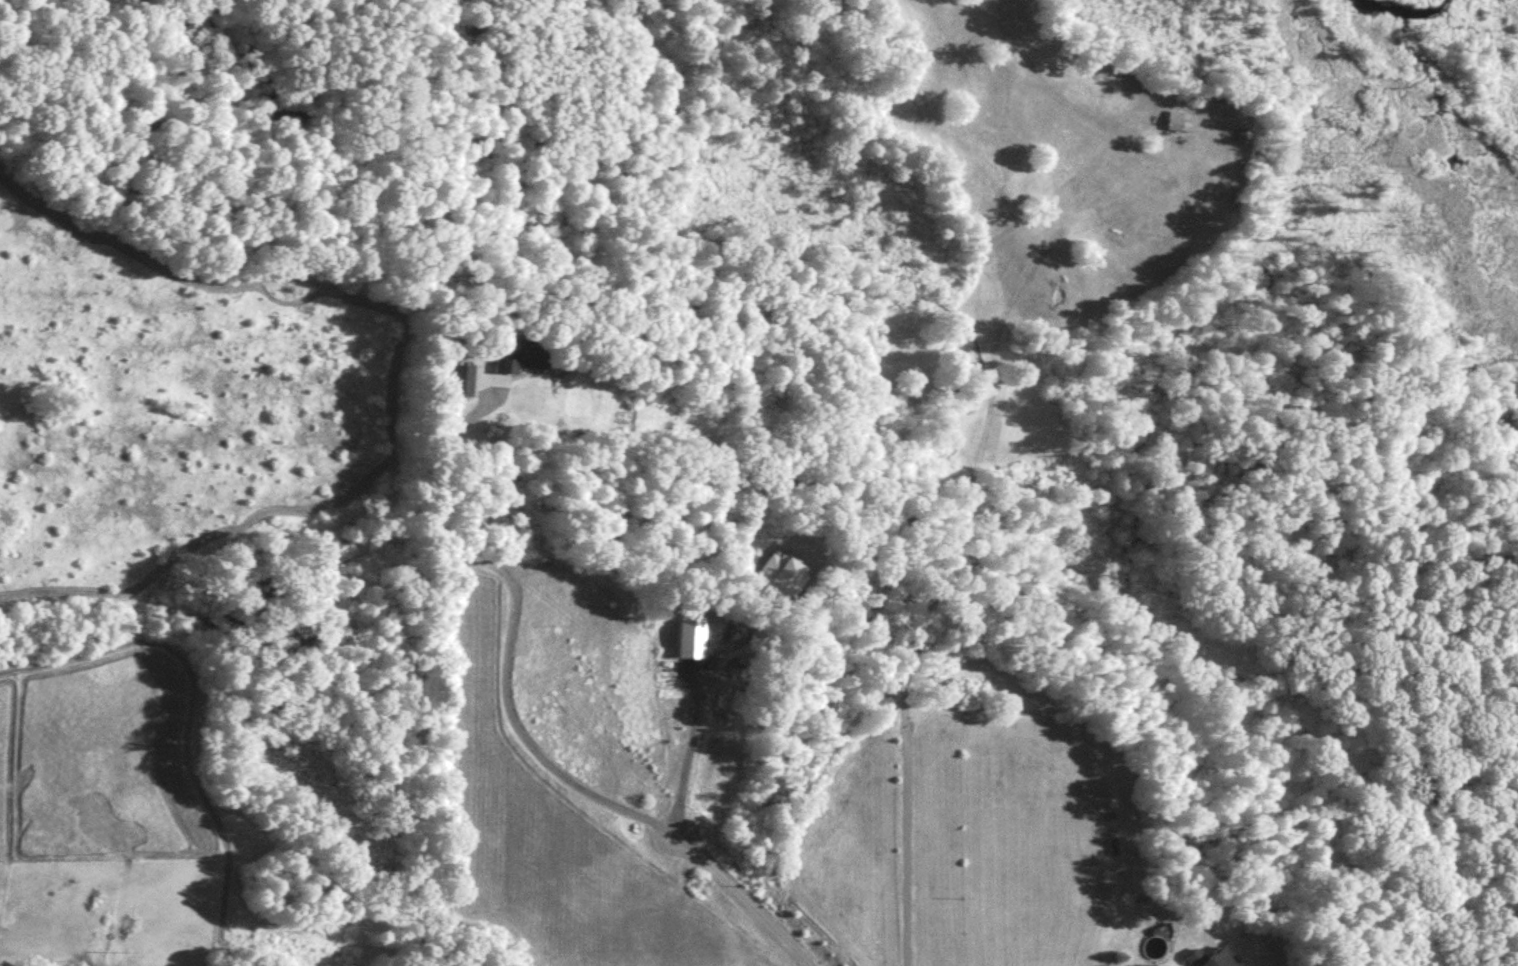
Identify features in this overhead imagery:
building: (1174, 122)
building: (515, 355)
building: (453, 380)
road: (509, 629)
road: (696, 719)
building: (1110, 847)
road: (737, 899)
building: (1208, 958)

